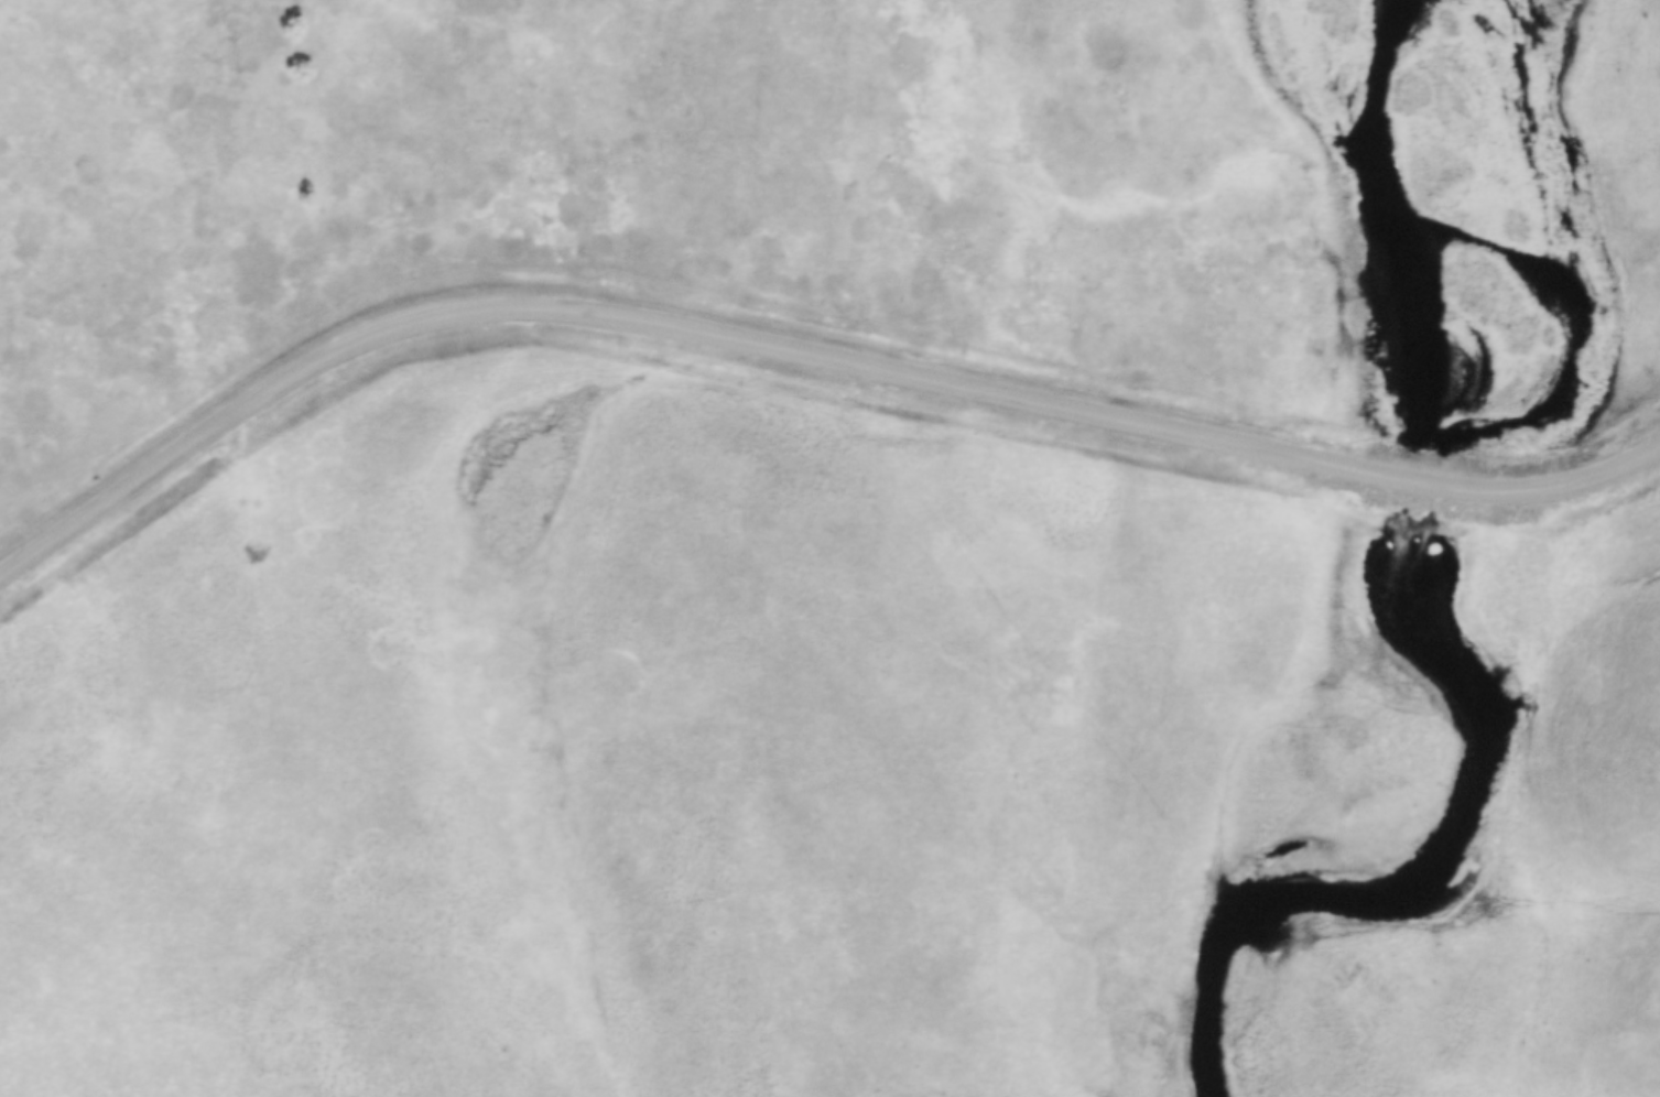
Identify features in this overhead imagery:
road: (802, 345)

